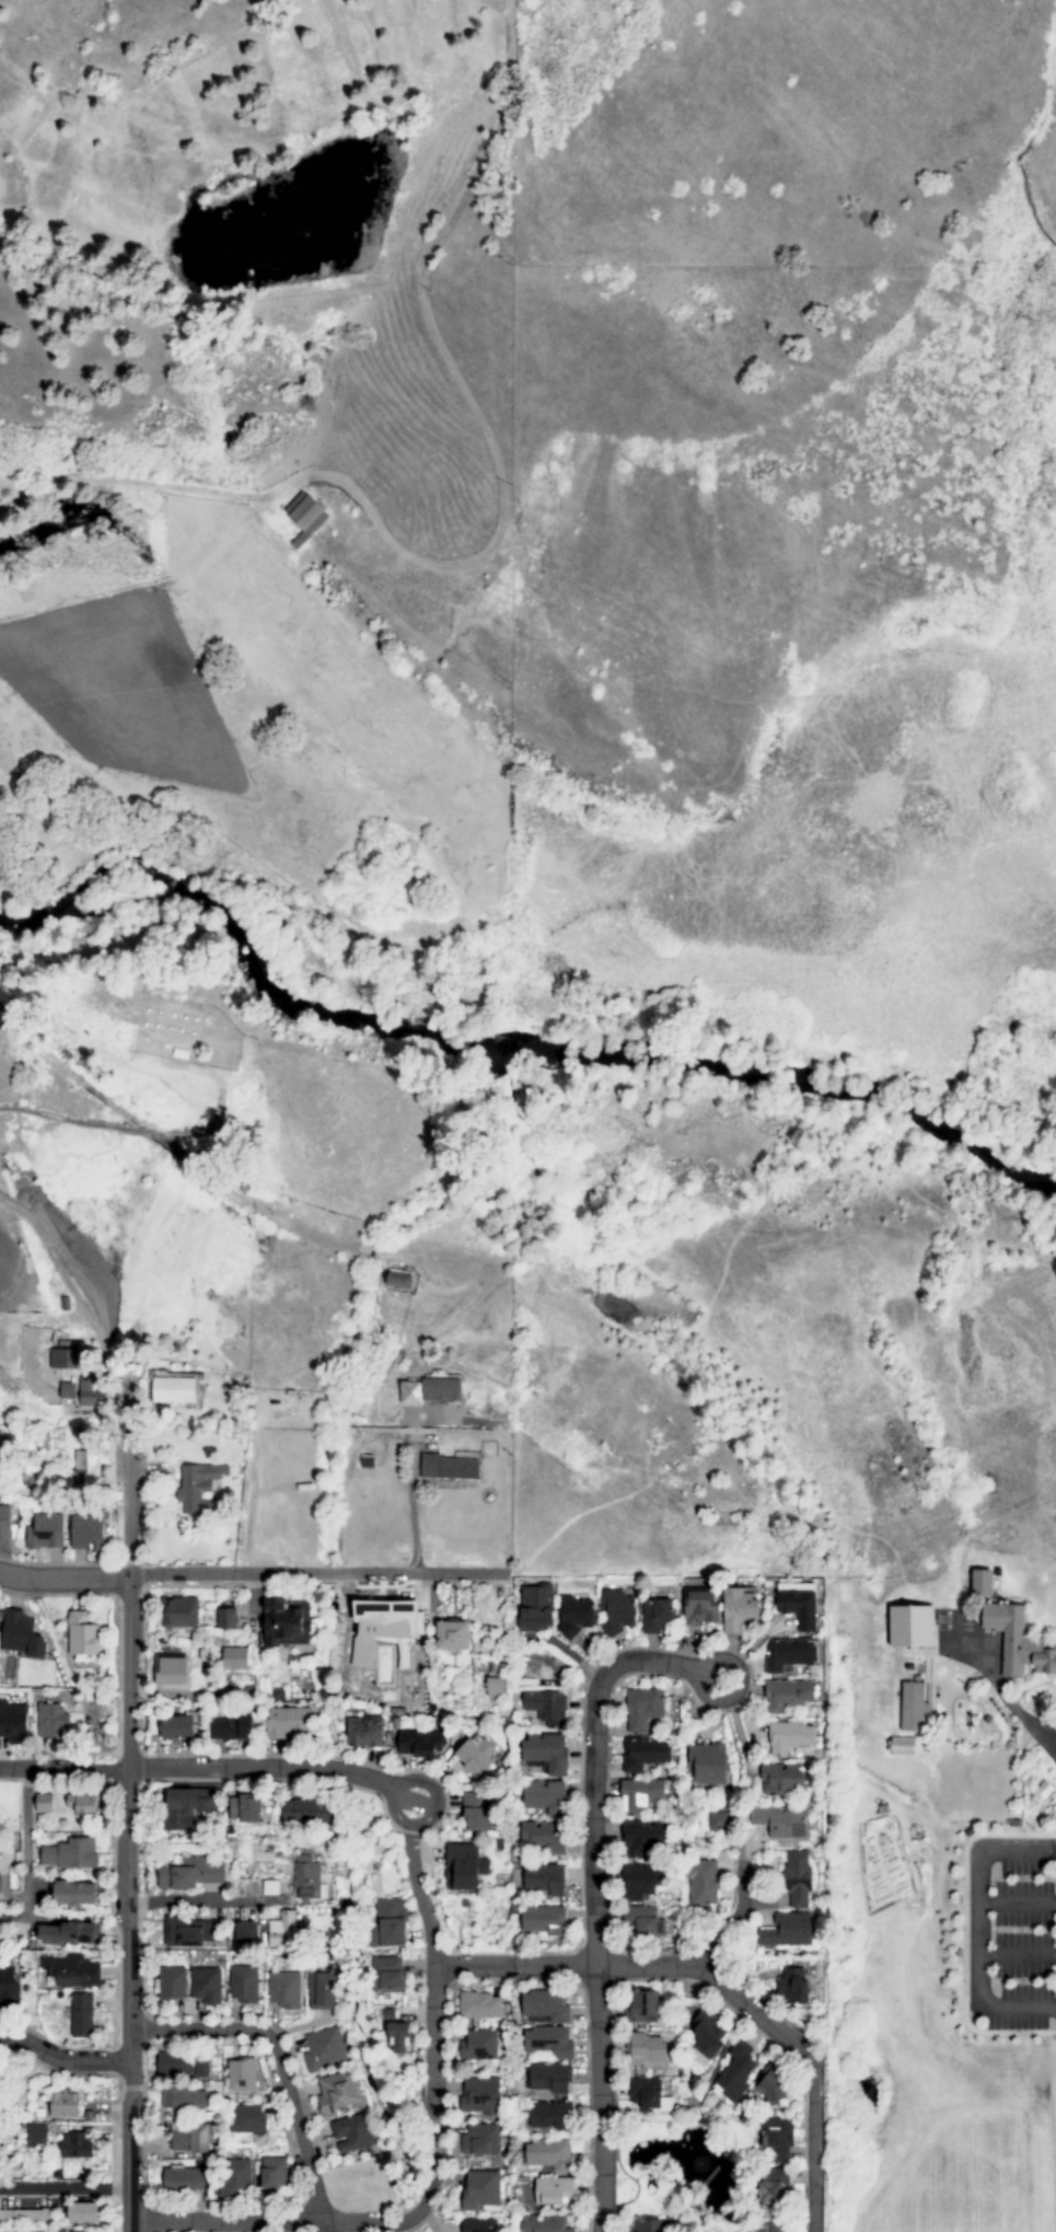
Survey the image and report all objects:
building: (302, 514)
road: (499, 524)
river: (504, 1051)
road: (225, 1189)
building: (398, 1281)
building: (67, 1356)
building: (439, 1388)
building: (67, 1390)
building: (175, 1390)
building: (92, 1391)
building: (451, 1466)
building: (198, 1488)
road: (411, 1511)
building: (5, 1522)
building: (46, 1533)
building: (86, 1533)
road: (315, 1572)
road: (63, 1577)
building: (985, 1580)
building: (798, 1606)
building: (700, 1608)
building: (535, 1609)
building: (739, 1610)
building: (179, 1612)
building: (617, 1612)
building: (575, 1617)
building: (657, 1617)
building: (227, 1619)
building: (287, 1623)
building: (915, 1626)
building: (384, 1629)
building: (22, 1635)
building: (82, 1635)
building: (453, 1637)
building: (1021, 1642)
building: (788, 1654)
building: (235, 1658)
road: (118, 1676)
building: (497, 1680)
building: (787, 1695)
building: (915, 1704)
building: (546, 1707)
building: (642, 1709)
building: (50, 1721)
building: (13, 1723)
building: (289, 1723)
building: (177, 1727)
building: (232, 1728)
building: (364, 1732)
building: (789, 1737)
building: (419, 1744)
building: (546, 1754)
building: (645, 1754)
building: (477, 1756)
building: (708, 1763)
road: (260, 1767)
road: (62, 1768)
building: (780, 1779)
building: (640, 1794)
building: (545, 1796)
building: (44, 1803)
building: (84, 1804)
building: (187, 1807)
building: (244, 1809)
road: (432, 1811)
building: (307, 1813)
building: (476, 1814)
road: (24, 1817)
building: (719, 1817)
building: (780, 1823)
road: (125, 1834)
building: (544, 1837)
building: (645, 1838)
building: (70, 1854)
building: (464, 1867)
building: (189, 1874)
building: (306, 1878)
building: (544, 1880)
building: (798, 1880)
building: (641, 1881)
building: (703, 1882)
building: (0, 1883)
road: (592, 1890)
building: (77, 1894)
road: (419, 1895)
road: (204, 1898)
road: (1017, 1901)
road: (735, 1915)
building: (543, 1920)
building: (642, 1922)
building: (388, 1924)
road: (978, 1928)
building: (283, 1931)
building: (787, 1931)
building: (189, 1932)
building: (247, 1933)
building: (69, 1934)
road: (1017, 1953)
building: (71, 1971)
building: (387, 1976)
building: (171, 1984)
building: (244, 1985)
building: (9, 1986)
building: (207, 1986)
building: (792, 1987)
building: (285, 1990)
building: (322, 1991)
building: (479, 2005)
building: (641, 2007)
building: (545, 2008)
building: (82, 2015)
road: (432, 2033)
building: (708, 2034)
building: (397, 2037)
building: (549, 2043)
building: (479, 2046)
building: (324, 2049)
building: (645, 2049)
road: (62, 2055)
road: (276, 2061)
building: (174, 2063)
building: (201, 2068)
building: (735, 2072)
building: (241, 2075)
building: (549, 2081)
building: (770, 2085)
building: (336, 2093)
building: (480, 2096)
building: (649, 2096)
building: (182, 2097)
building: (65, 2105)
building: (550, 2116)
building: (246, 2119)
building: (351, 2133)
building: (36, 2136)
building: (192, 2138)
building: (776, 2139)
building: (480, 2140)
building: (76, 2146)
road: (812, 2146)
building: (550, 2155)
building: (274, 2173)
building: (235, 2178)
building: (184, 2179)
road: (66, 2186)
building: (774, 2187)
building: (480, 2189)
building: (555, 2191)
building: (83, 2212)
building: (26, 2216)
building: (544, 2223)
building: (479, 2225)
building: (646, 2225)
road: (324, 2227)
building: (767, 2227)
building: (58, 2231)
building: (78, 2231)

